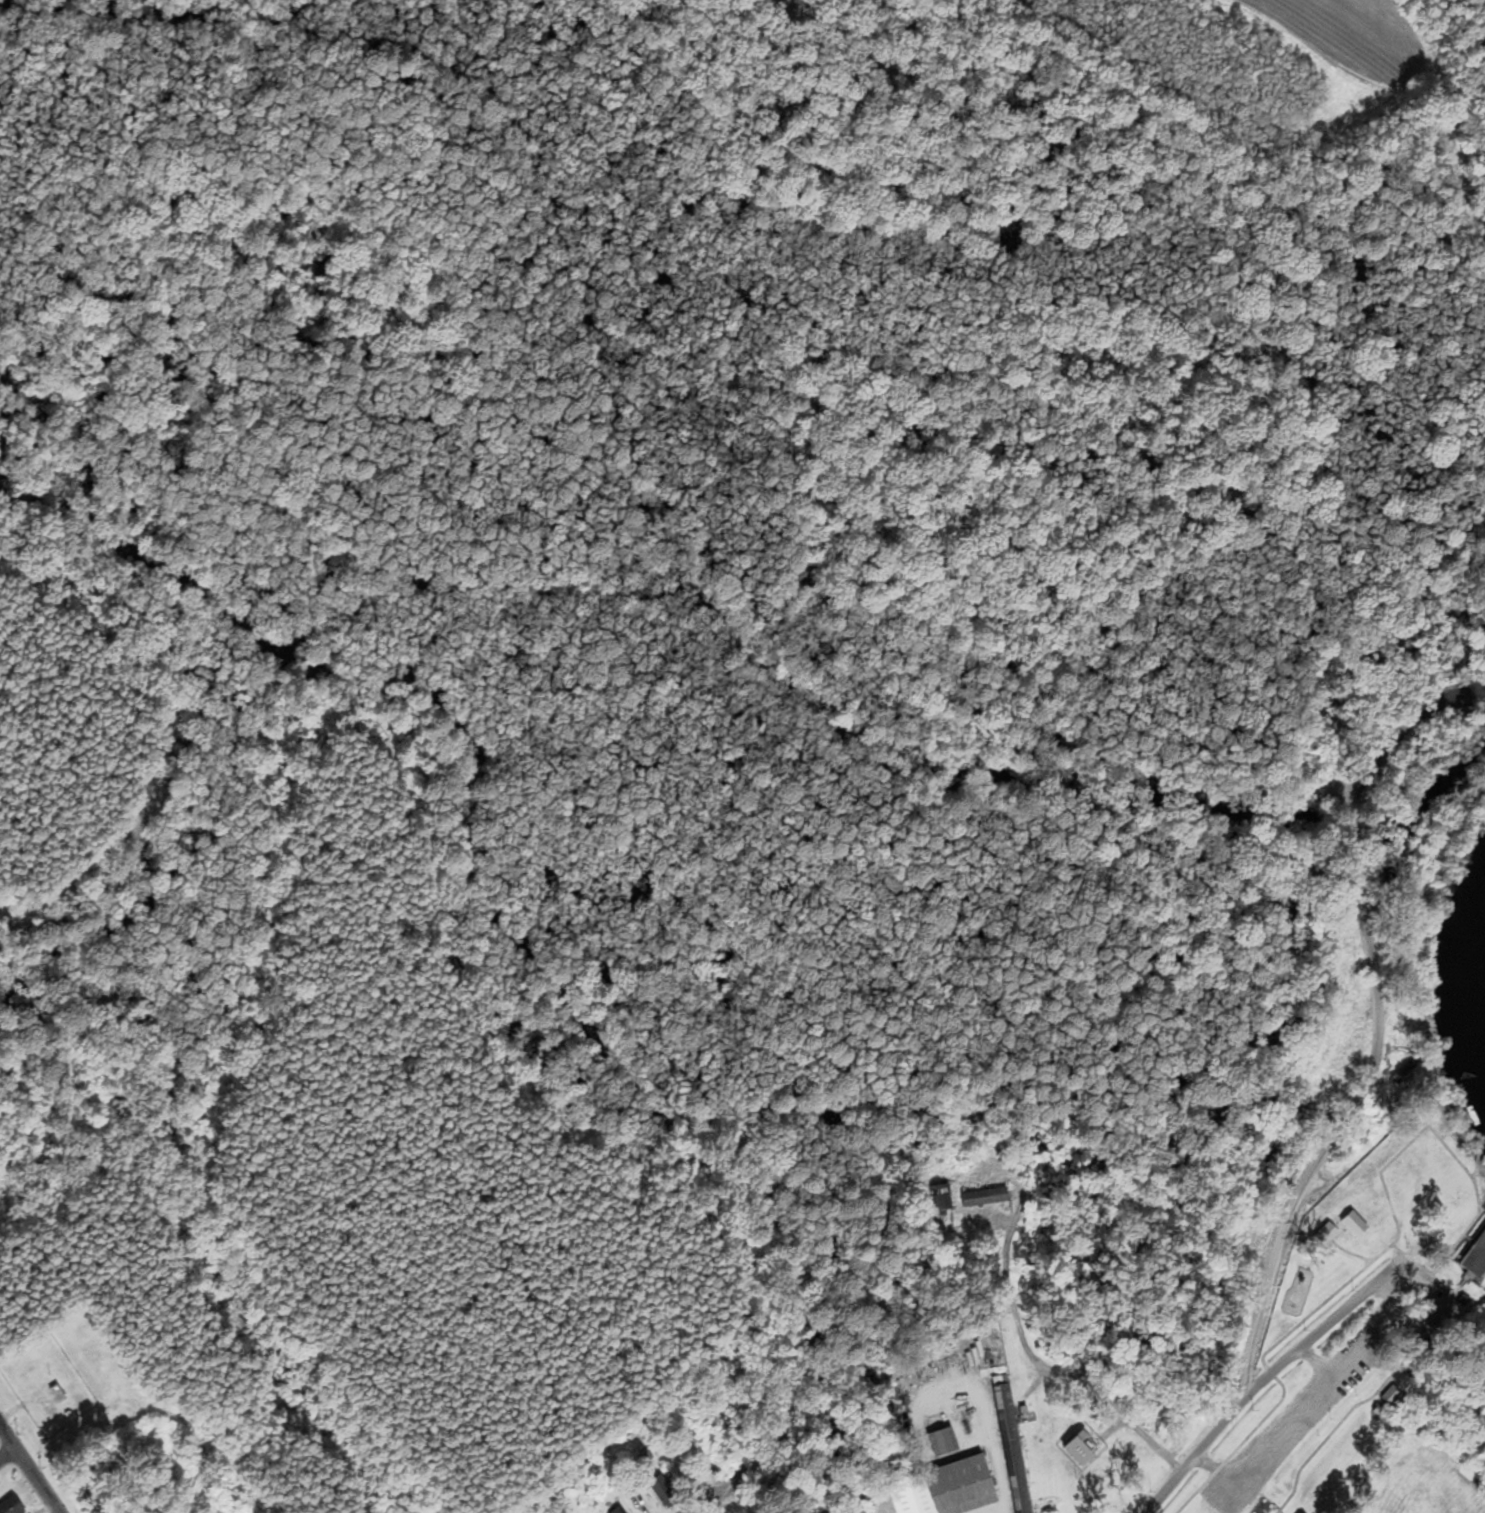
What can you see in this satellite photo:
road: (1461, 176)
road: (1386, 1022)
building: (939, 1197)
building: (986, 1197)
building: (1482, 1239)
road: (1349, 1253)
road: (1371, 1260)
building: (1471, 1304)
road: (1057, 1369)
road: (1390, 1374)
road: (1266, 1376)
building: (58, 1395)
building: (1393, 1398)
building: (944, 1443)
building: (1012, 1444)
road: (7, 1455)
road: (28, 1469)
building: (940, 1489)
building: (664, 1493)
road: (709, 1504)
building: (12, 1506)
building: (620, 1511)

